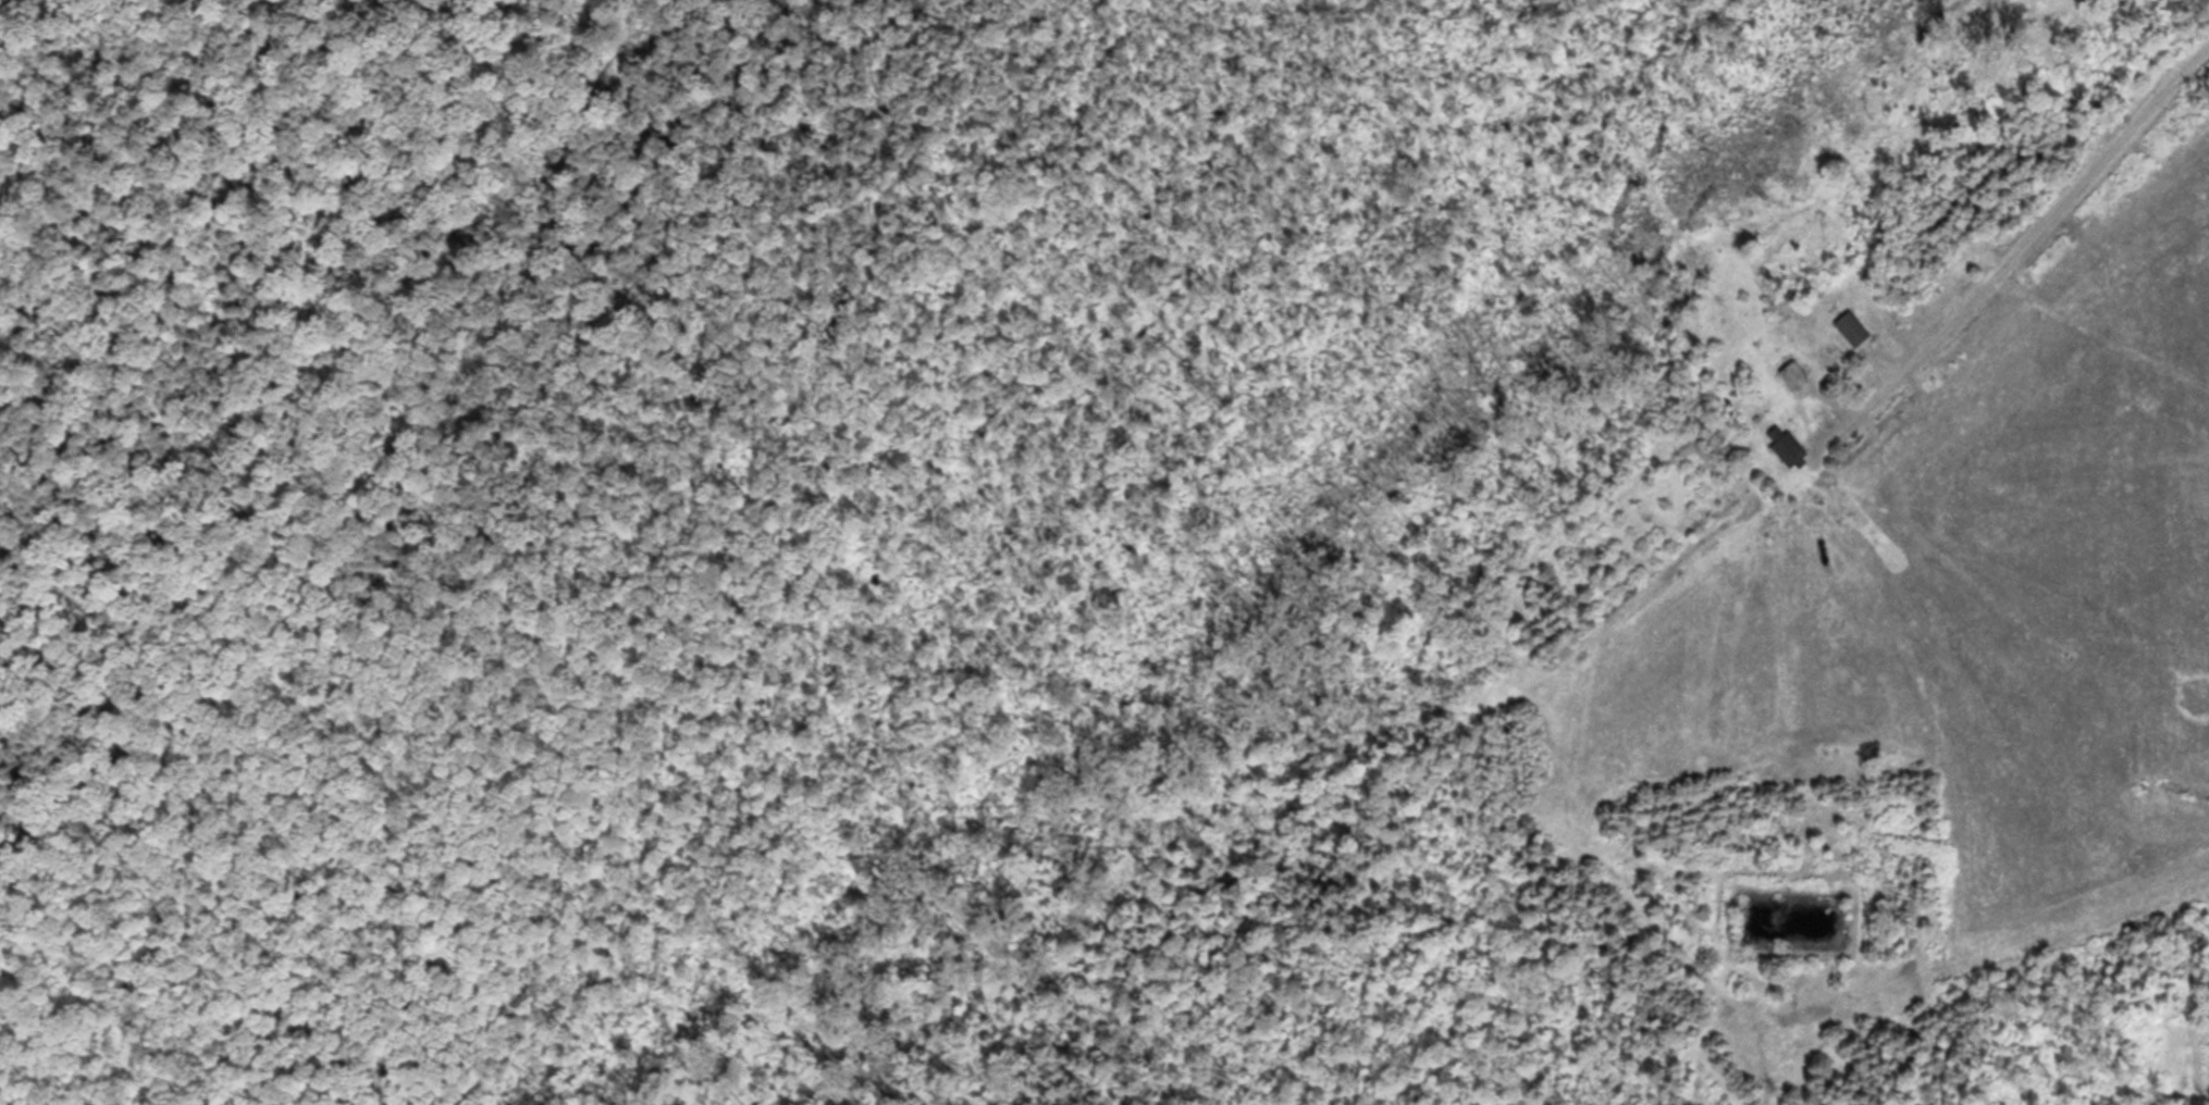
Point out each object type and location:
road: (2017, 251)
building: (1850, 326)
building: (1791, 373)
building: (1784, 444)

